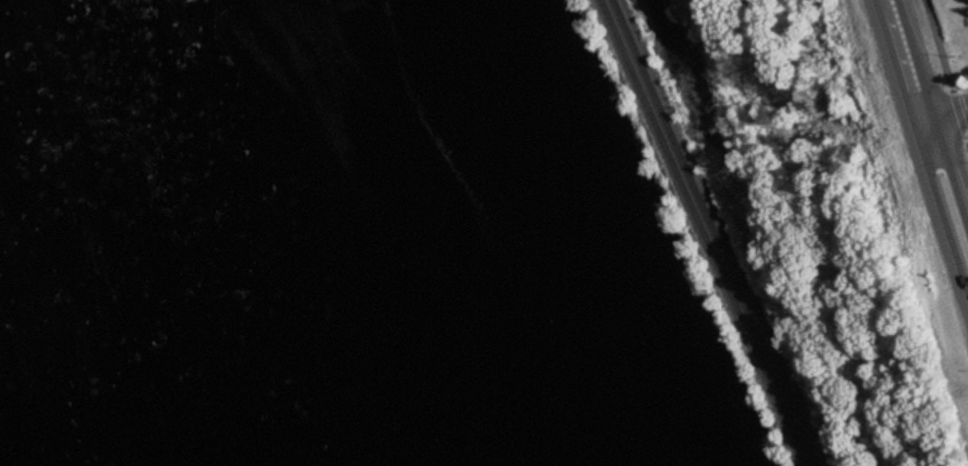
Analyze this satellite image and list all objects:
road: (943, 75)
road: (934, 110)
road: (937, 117)
road: (917, 161)
road: (821, 231)
railway: (712, 232)
railway: (700, 233)

